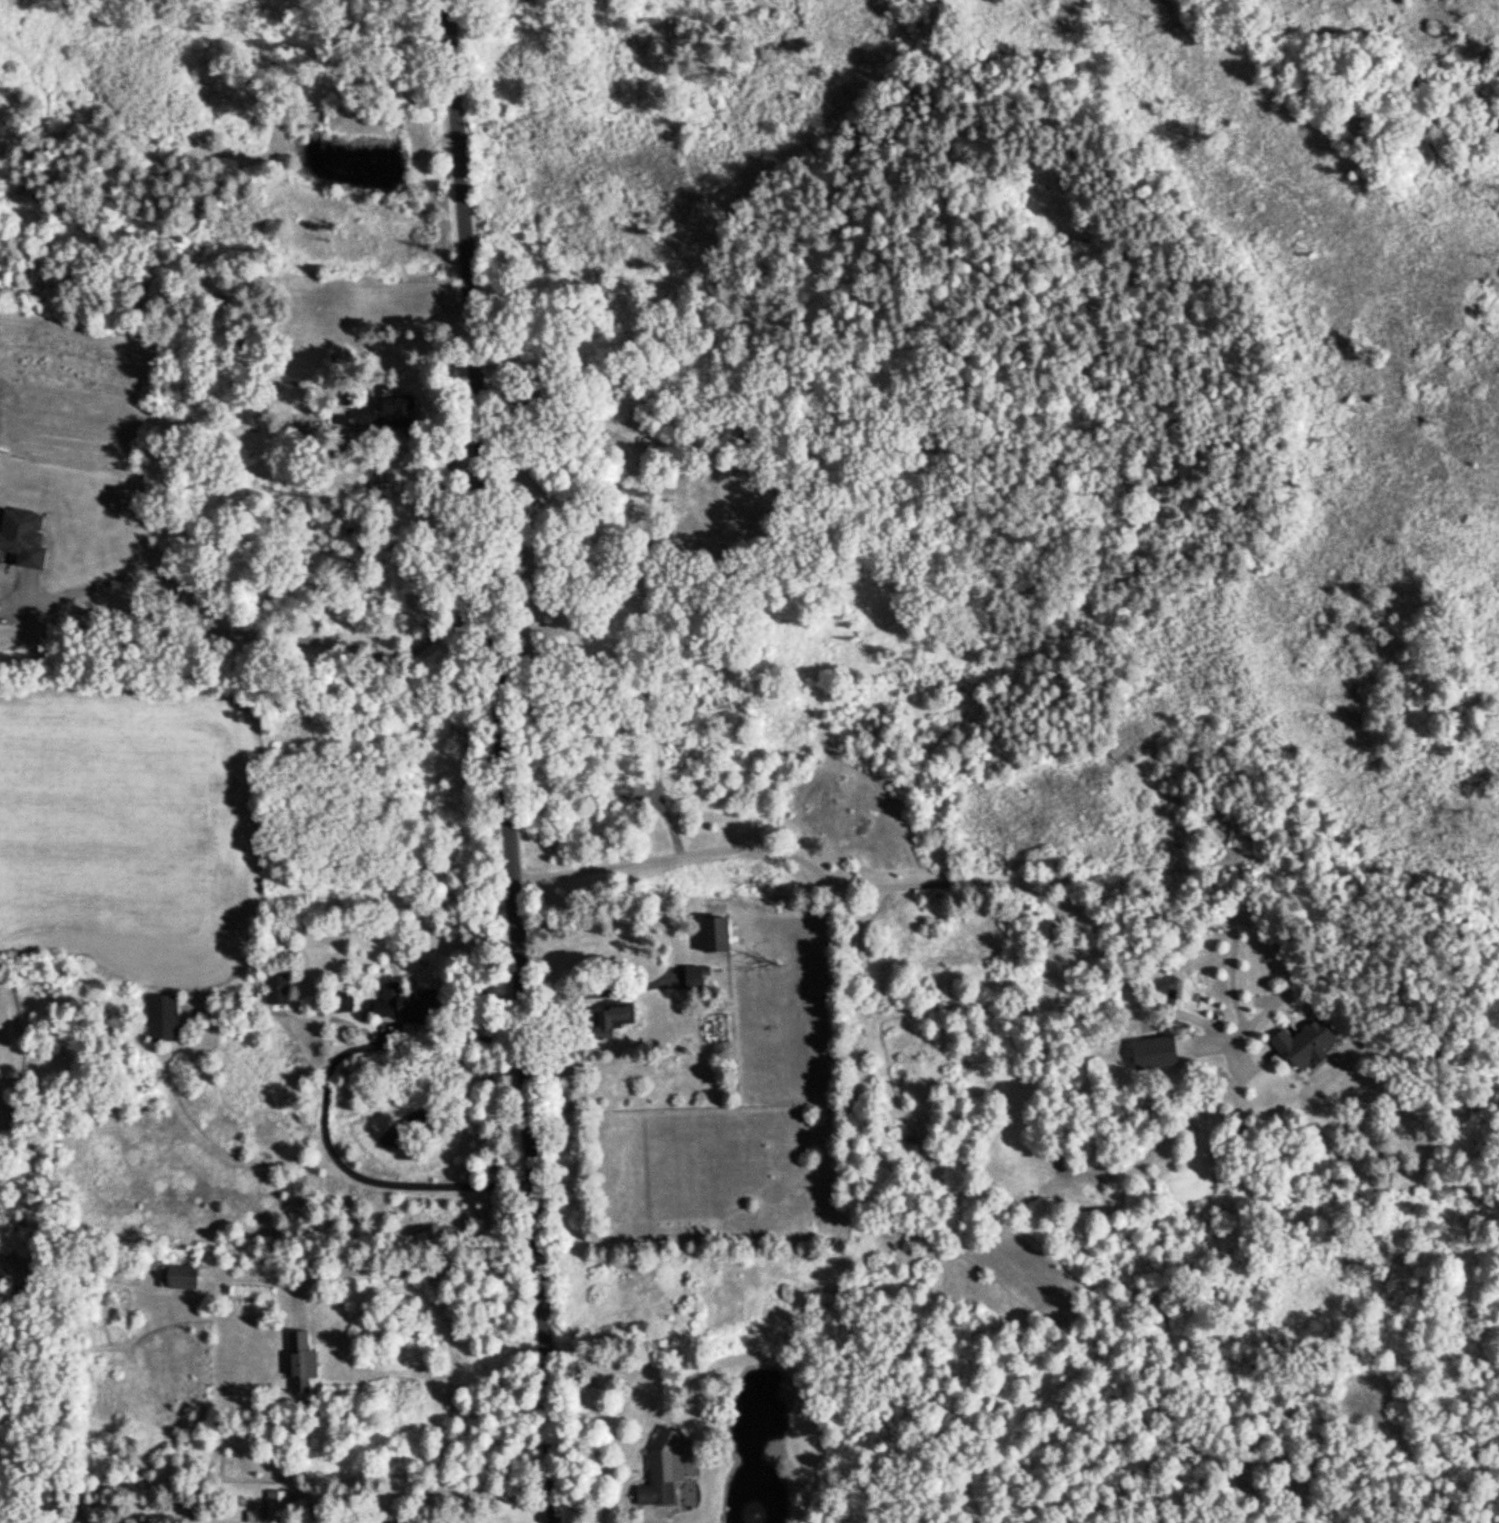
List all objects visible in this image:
building: (388, 410)
building: (340, 417)
road: (245, 635)
road: (504, 761)
crop: (129, 828)
road: (922, 881)
building: (715, 932)
road: (672, 949)
building: (694, 974)
building: (276, 986)
building: (342, 1000)
building: (405, 1002)
building: (161, 1016)
building: (613, 1016)
building: (1302, 1039)
building: (1153, 1051)
road: (356, 1175)
road: (401, 1268)
building: (177, 1275)
building: (301, 1359)
building: (660, 1467)
road: (464, 1491)
building: (277, 1503)

